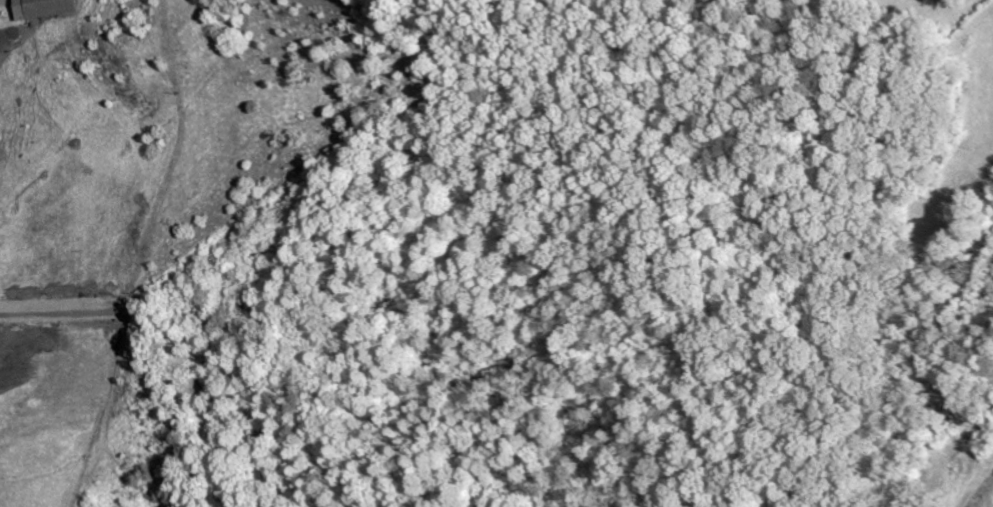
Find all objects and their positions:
building: (40, 9)
road: (25, 315)
road: (117, 376)

